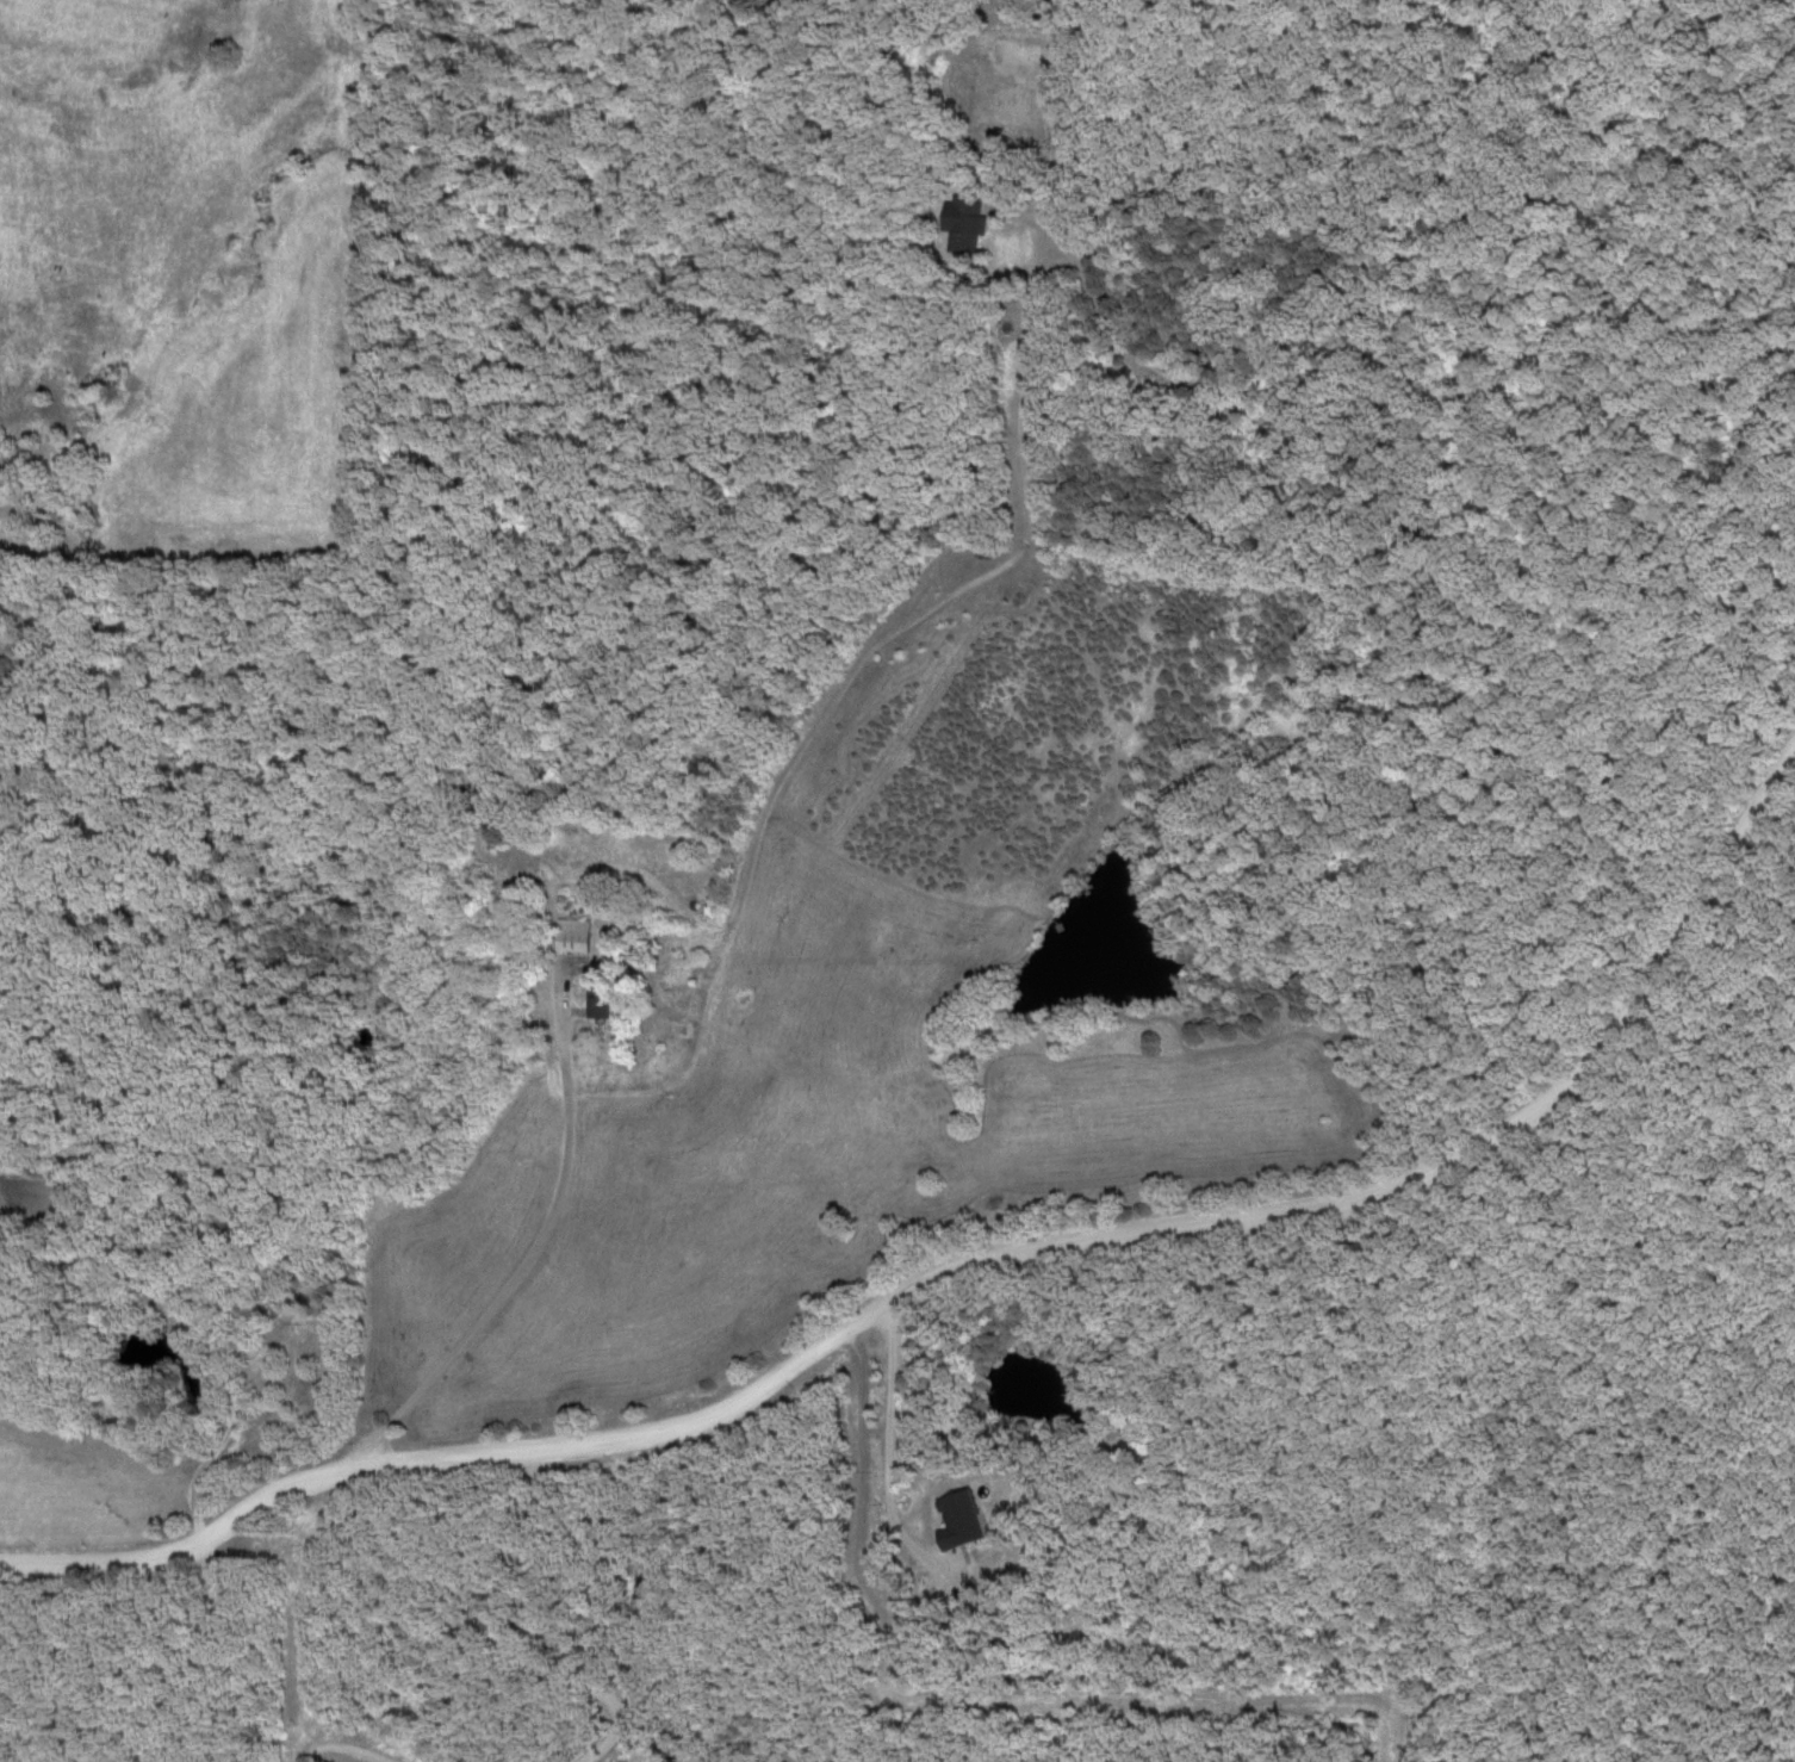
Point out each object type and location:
building: (965, 224)
building: (574, 936)
building: (602, 999)
road: (1615, 1024)
road: (540, 1243)
road: (718, 1413)
road: (232, 1440)
road: (880, 1457)

